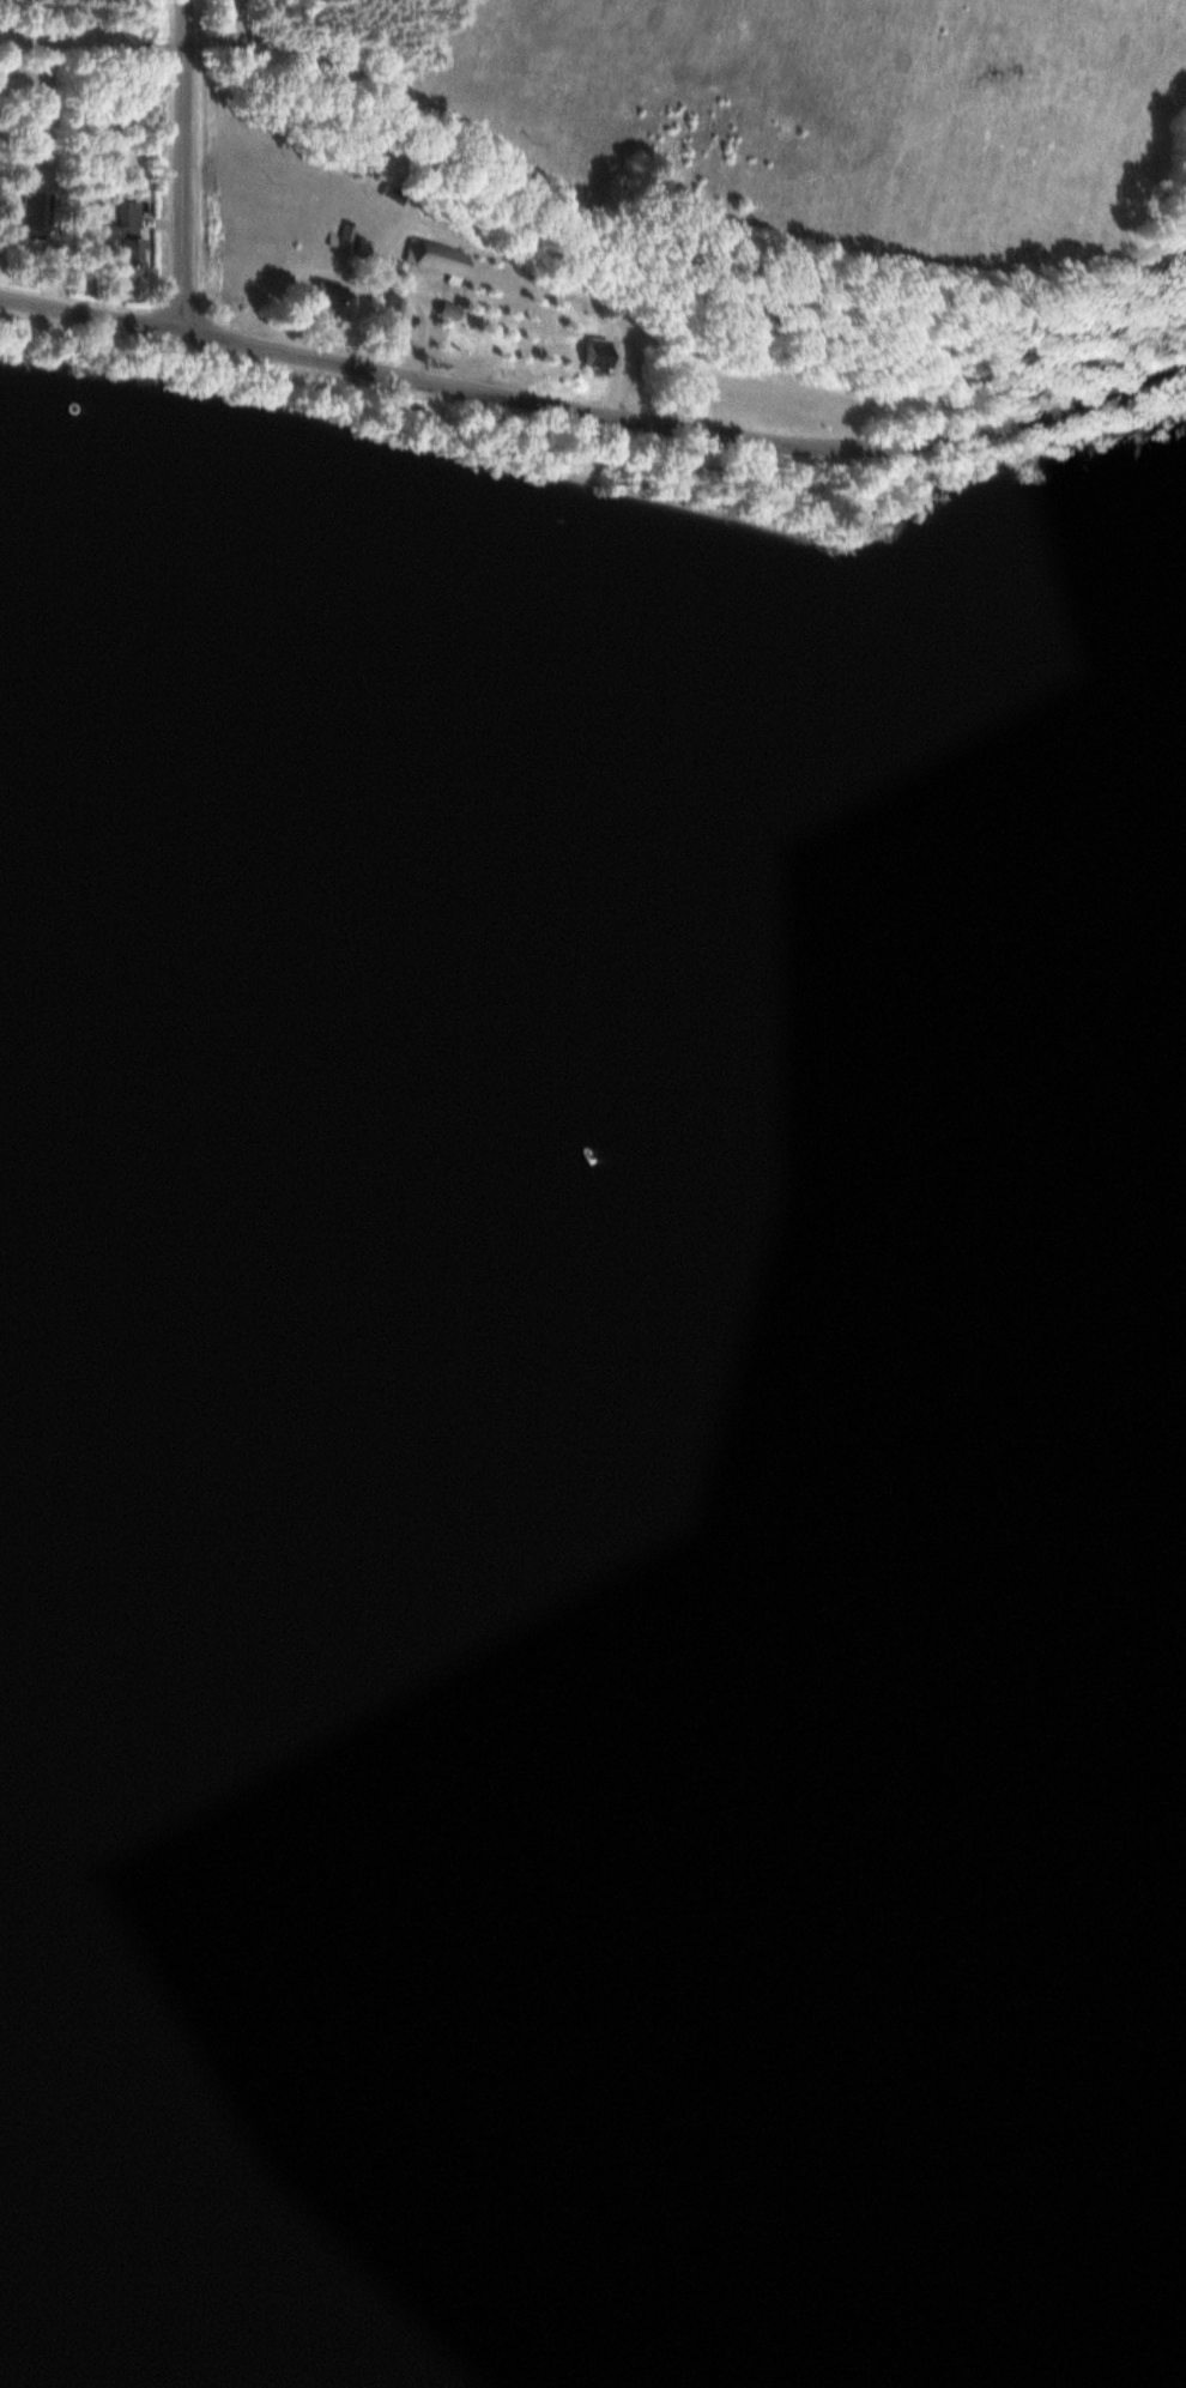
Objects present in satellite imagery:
road: (181, 164)
building: (29, 211)
building: (131, 253)
building: (441, 256)
building: (452, 307)
building: (601, 350)
road: (593, 410)

